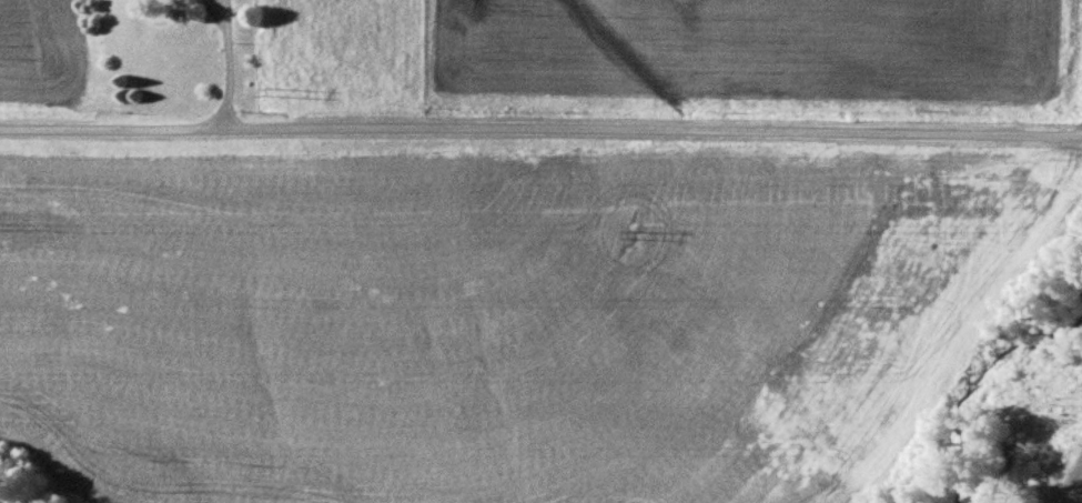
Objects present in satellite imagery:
road: (232, 61)
road: (540, 128)

